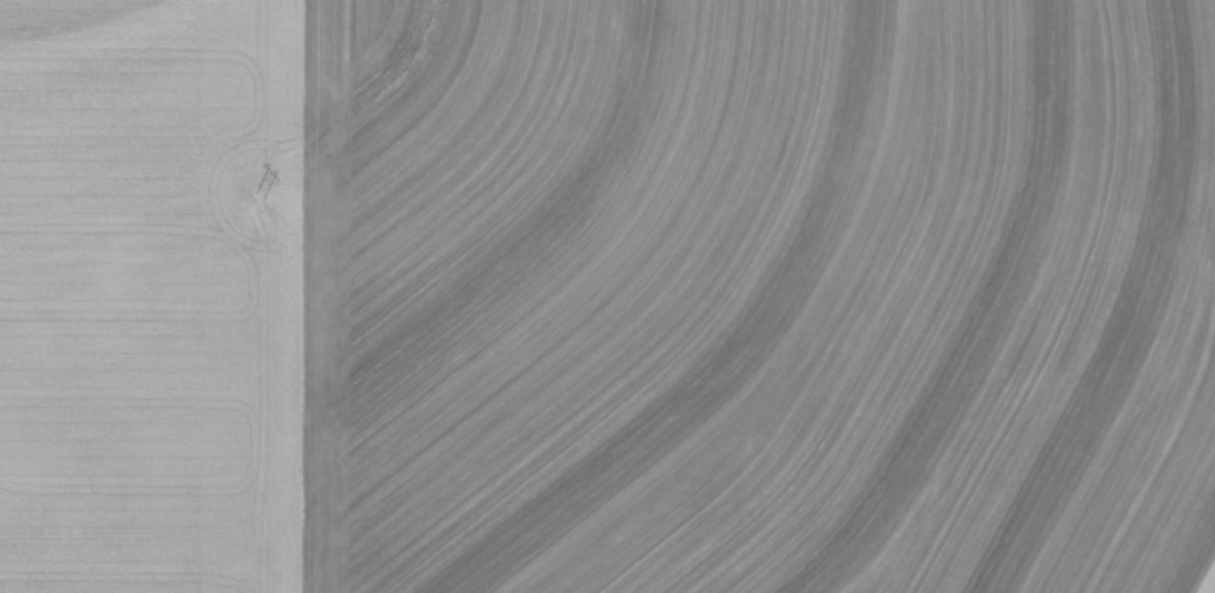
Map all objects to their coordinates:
power tower: (289, 196)

